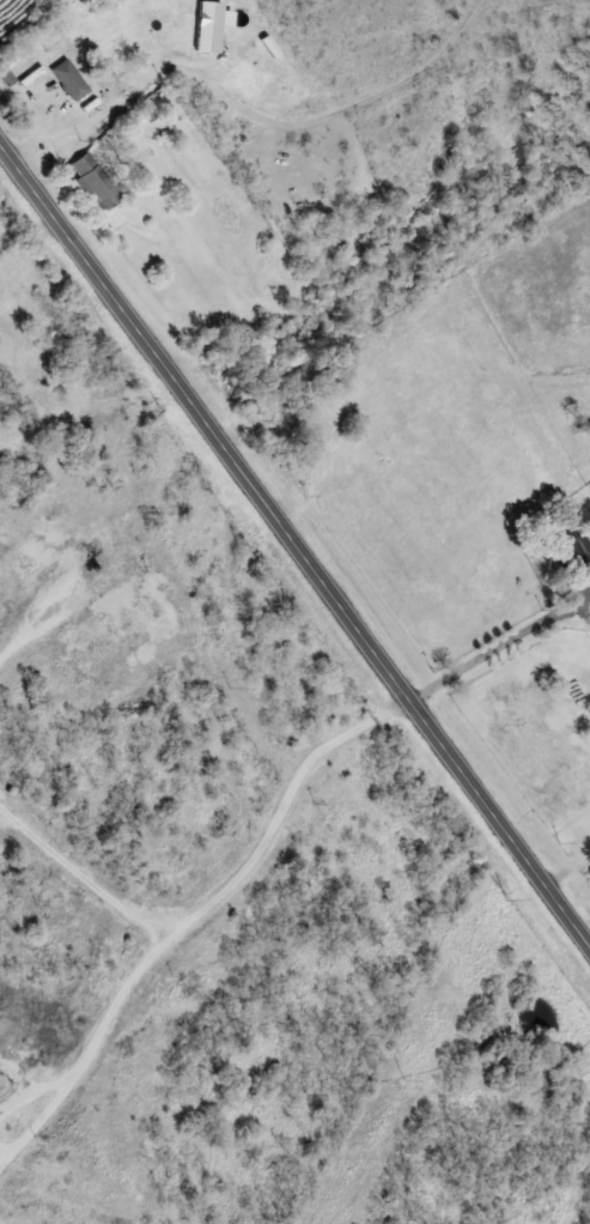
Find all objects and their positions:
building: (209, 26)
building: (71, 80)
building: (96, 181)
road: (294, 537)
building: (577, 551)

